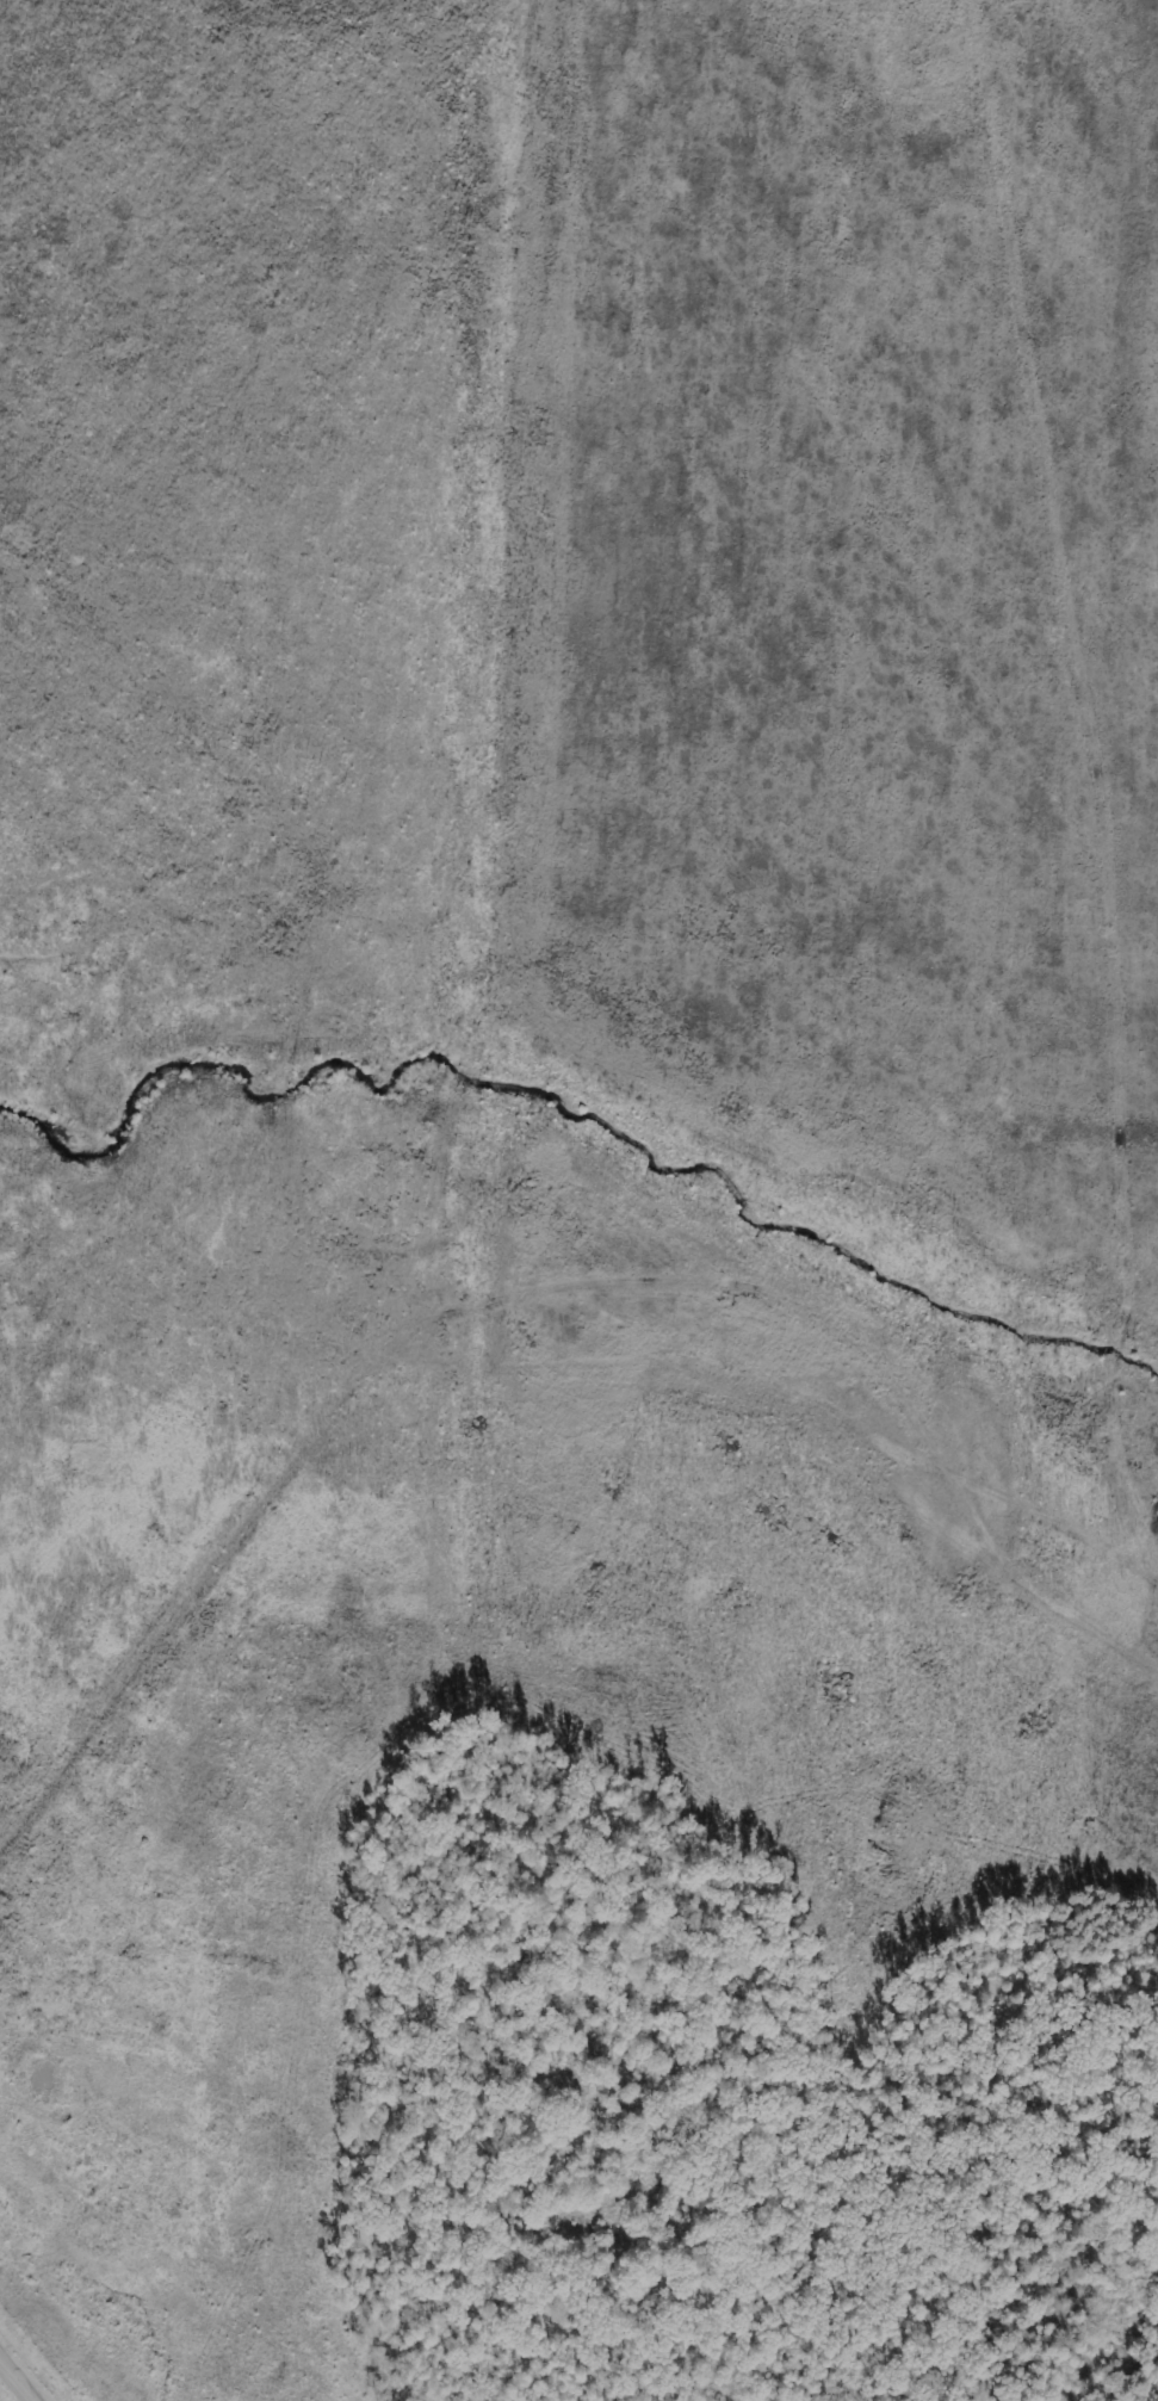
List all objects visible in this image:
road: (18, 2372)

